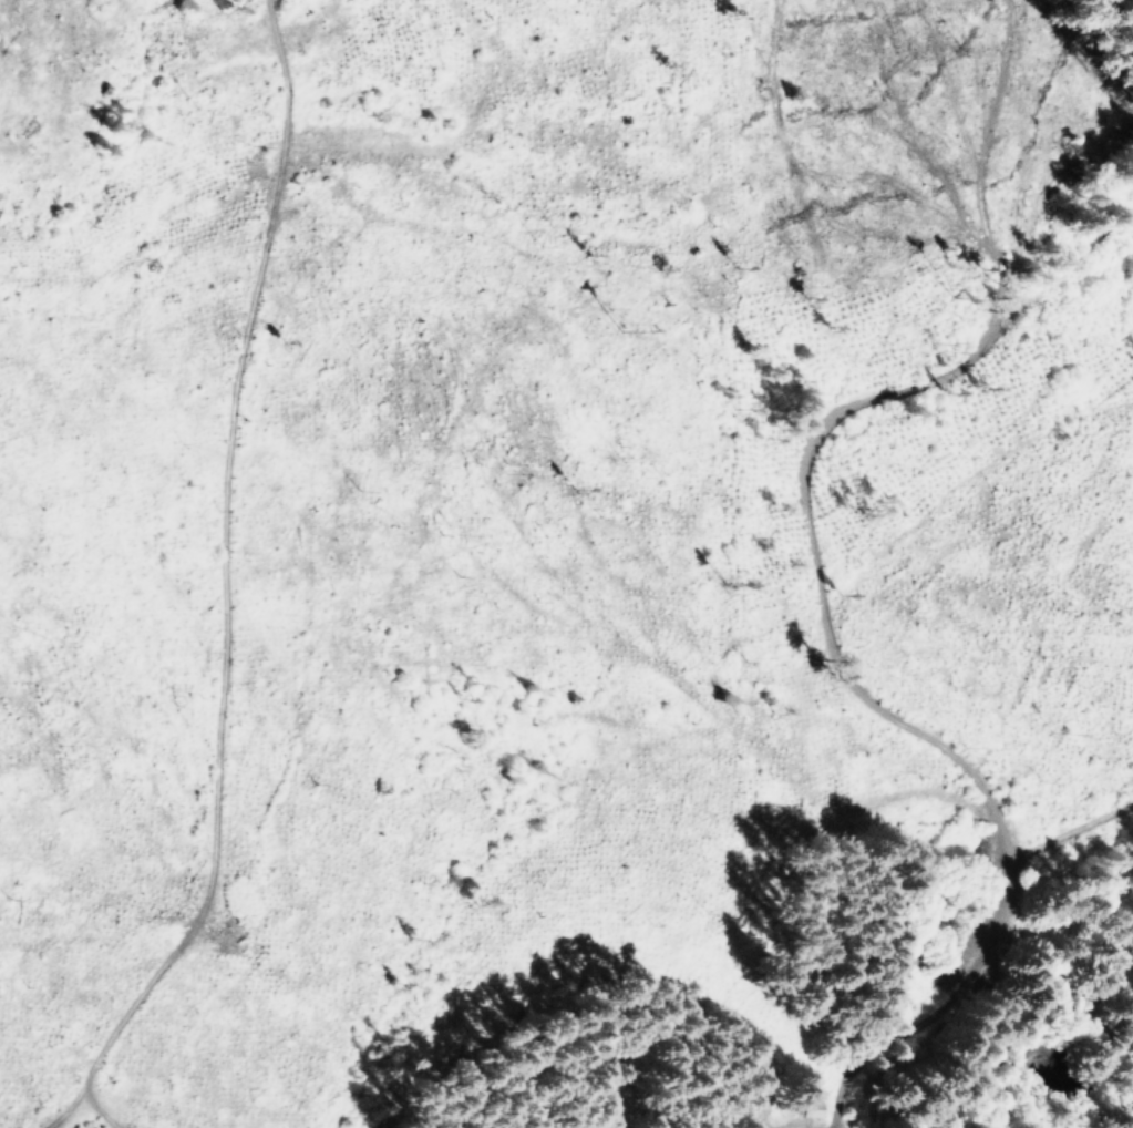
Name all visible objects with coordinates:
road: (971, 482)
road: (817, 562)
road: (266, 601)
road: (957, 996)

